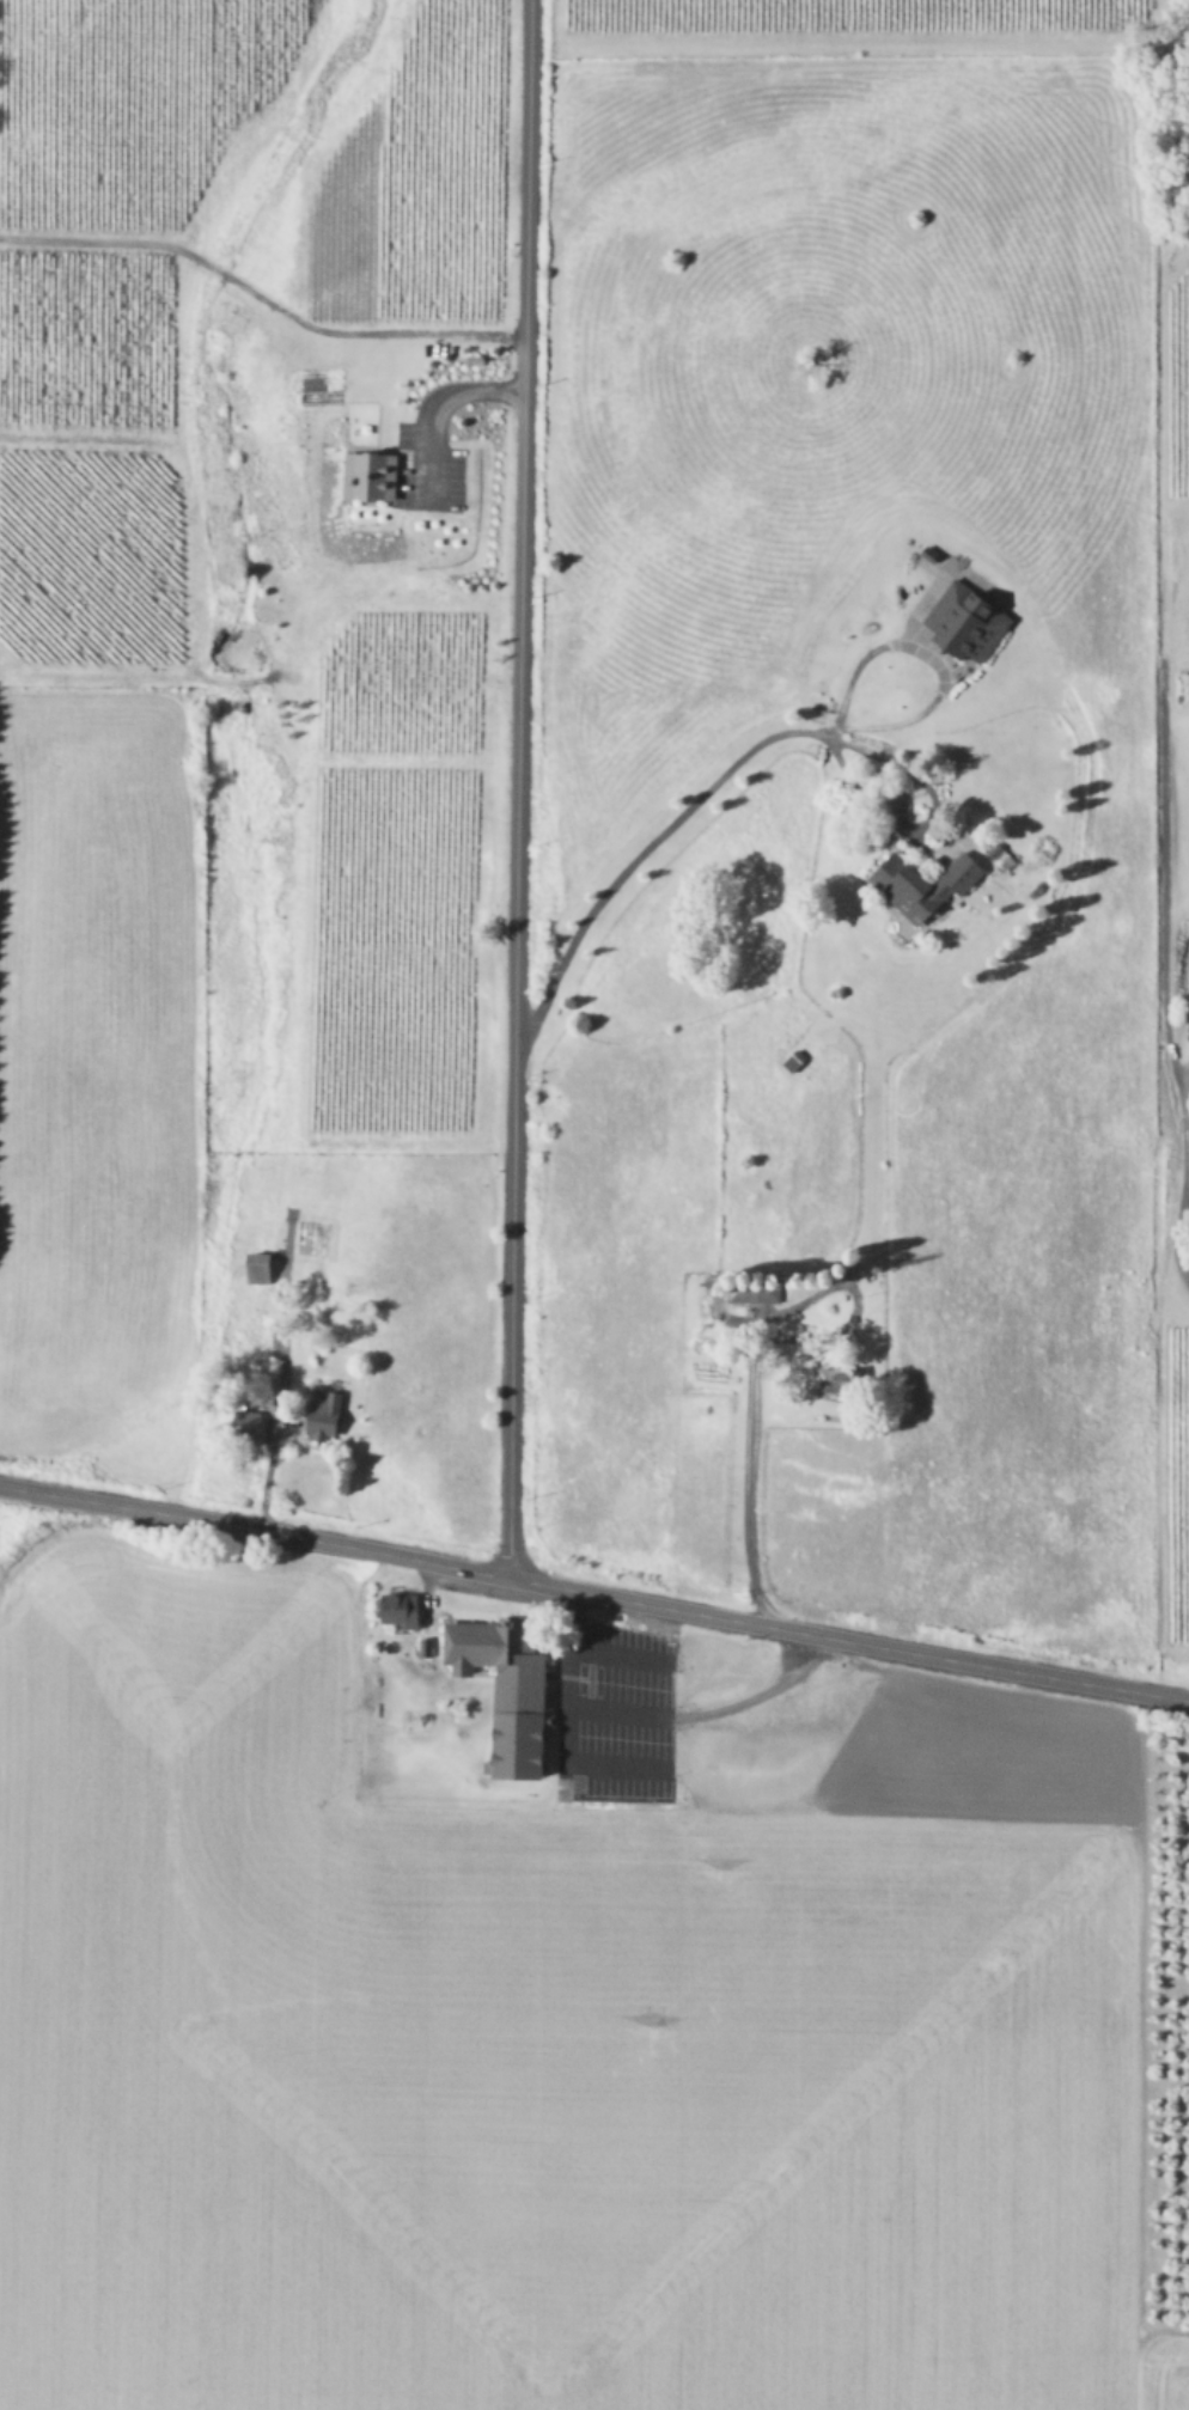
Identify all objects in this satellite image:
road: (258, 301)
road: (435, 405)
building: (376, 472)
building: (971, 618)
road: (751, 749)
road: (517, 788)
crop: (603, 791)
building: (1001, 852)
building: (927, 881)
road: (1177, 889)
road: (1176, 1228)
building: (262, 1265)
building: (756, 1294)
building: (843, 1374)
road: (748, 1402)
building: (330, 1415)
building: (251, 1421)
road: (593, 1594)
building: (403, 1607)
building: (513, 1689)
road: (708, 1714)
road: (561, 1723)
crop: (566, 2014)

